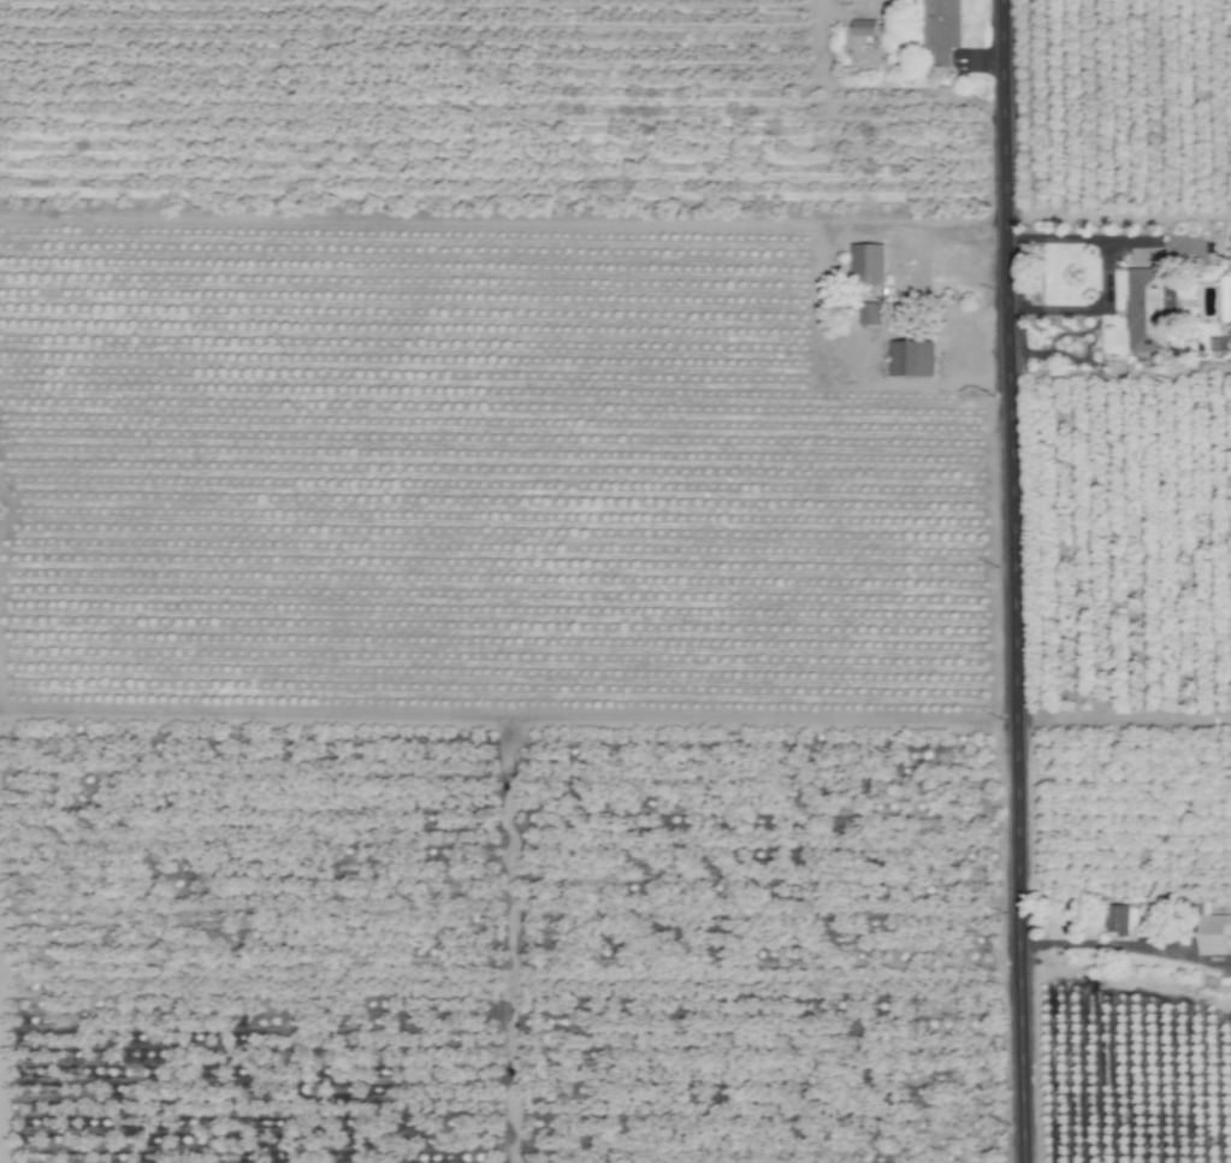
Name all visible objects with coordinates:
building: (874, 30)
building: (942, 30)
road: (1119, 218)
building: (870, 265)
road: (1103, 273)
building: (1146, 312)
building: (871, 314)
road: (858, 358)
building: (912, 359)
road: (1016, 580)
road: (1125, 715)
building: (1119, 919)
building: (1213, 934)
road: (1126, 946)

